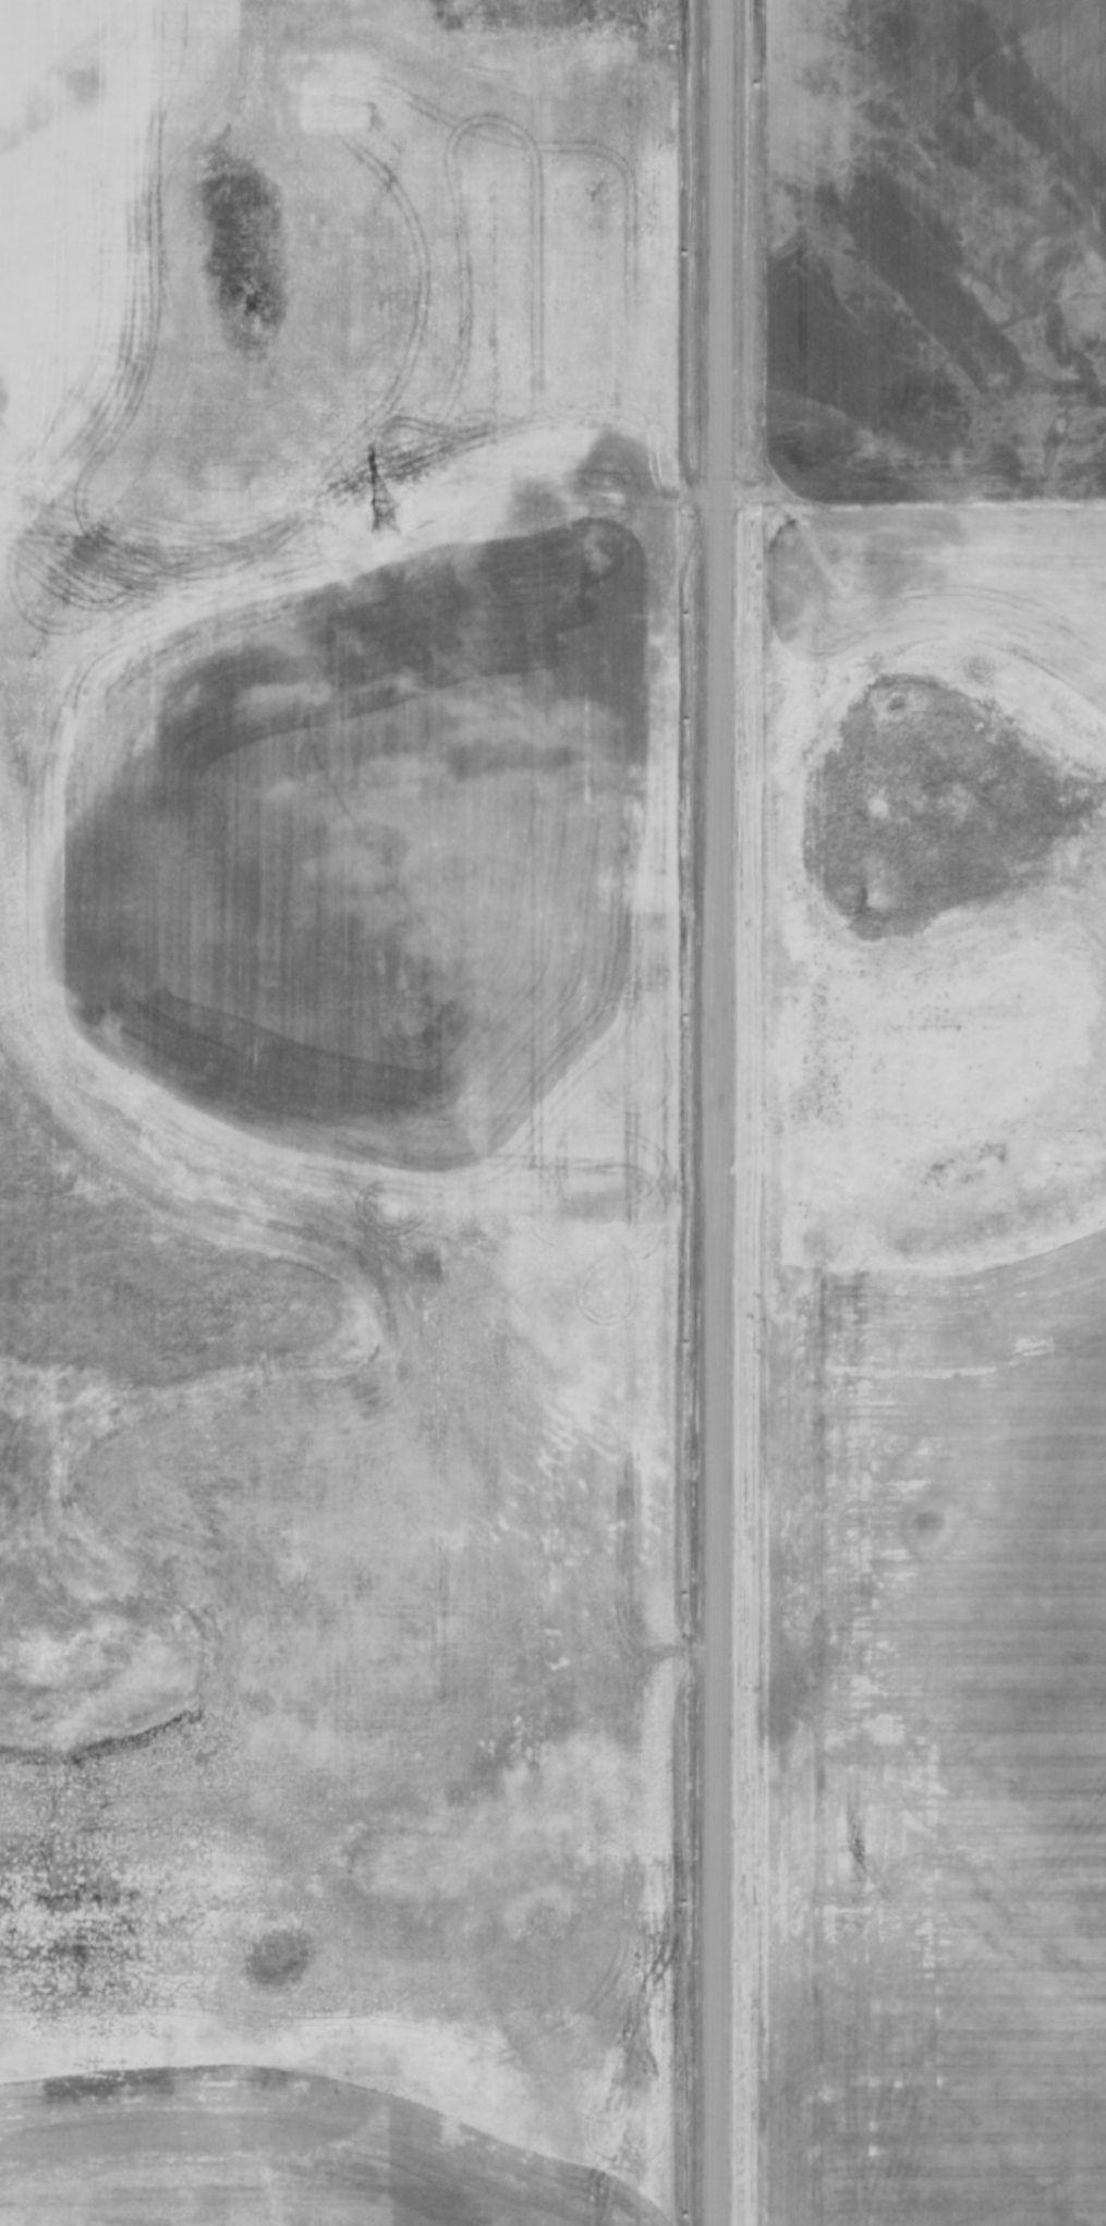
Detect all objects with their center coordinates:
power tower: (392, 515)
road: (718, 1112)

